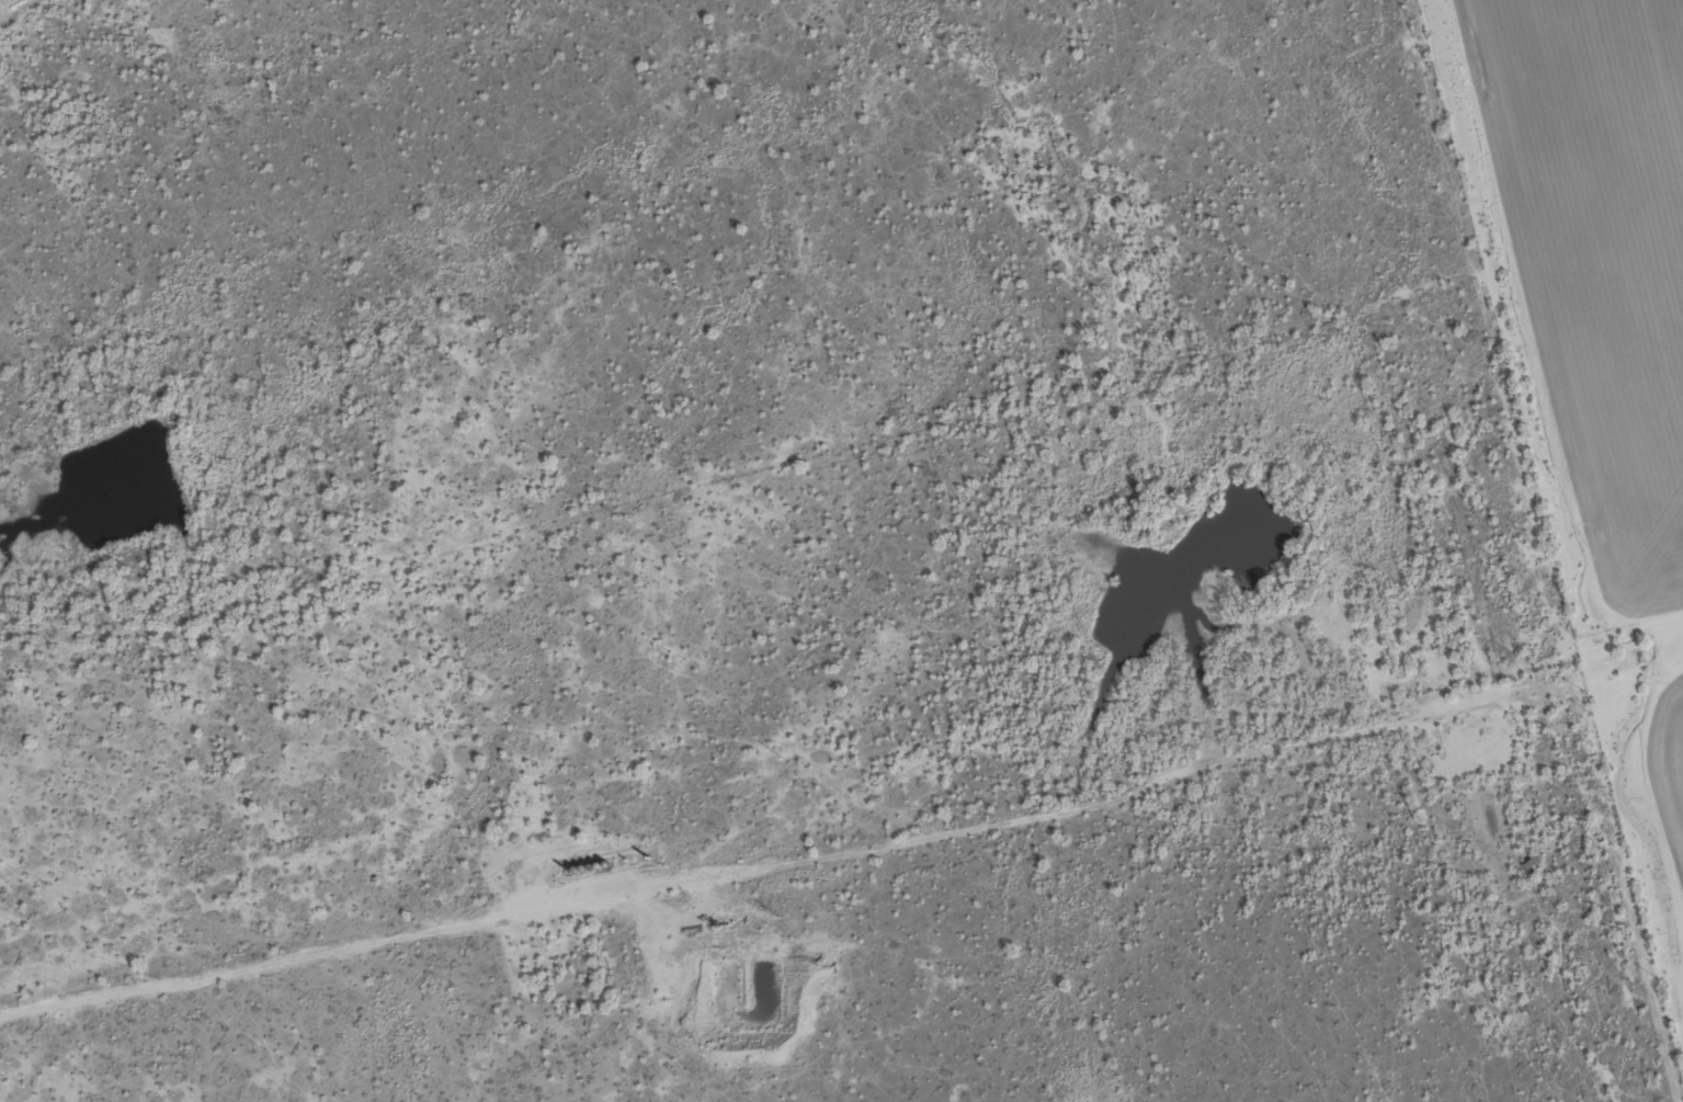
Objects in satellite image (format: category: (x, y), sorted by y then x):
road: (1465, 717)

